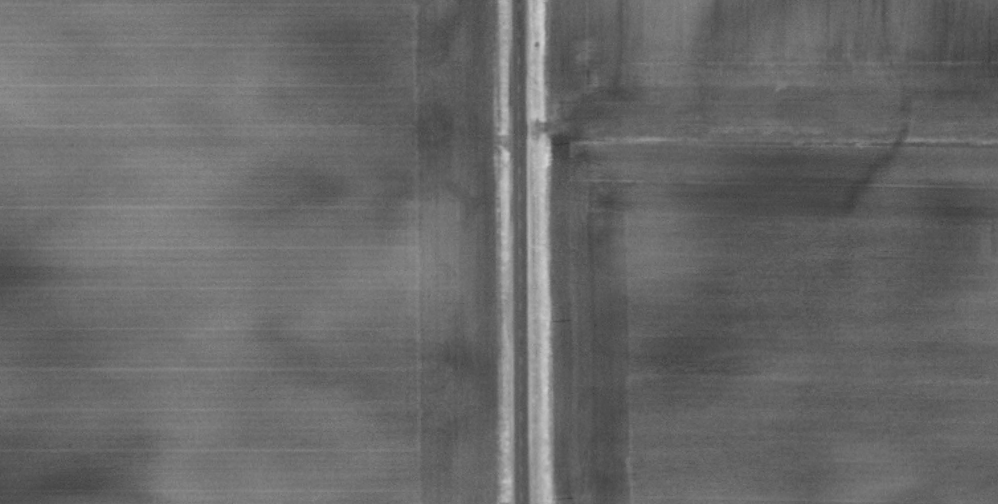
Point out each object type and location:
road: (519, 252)

